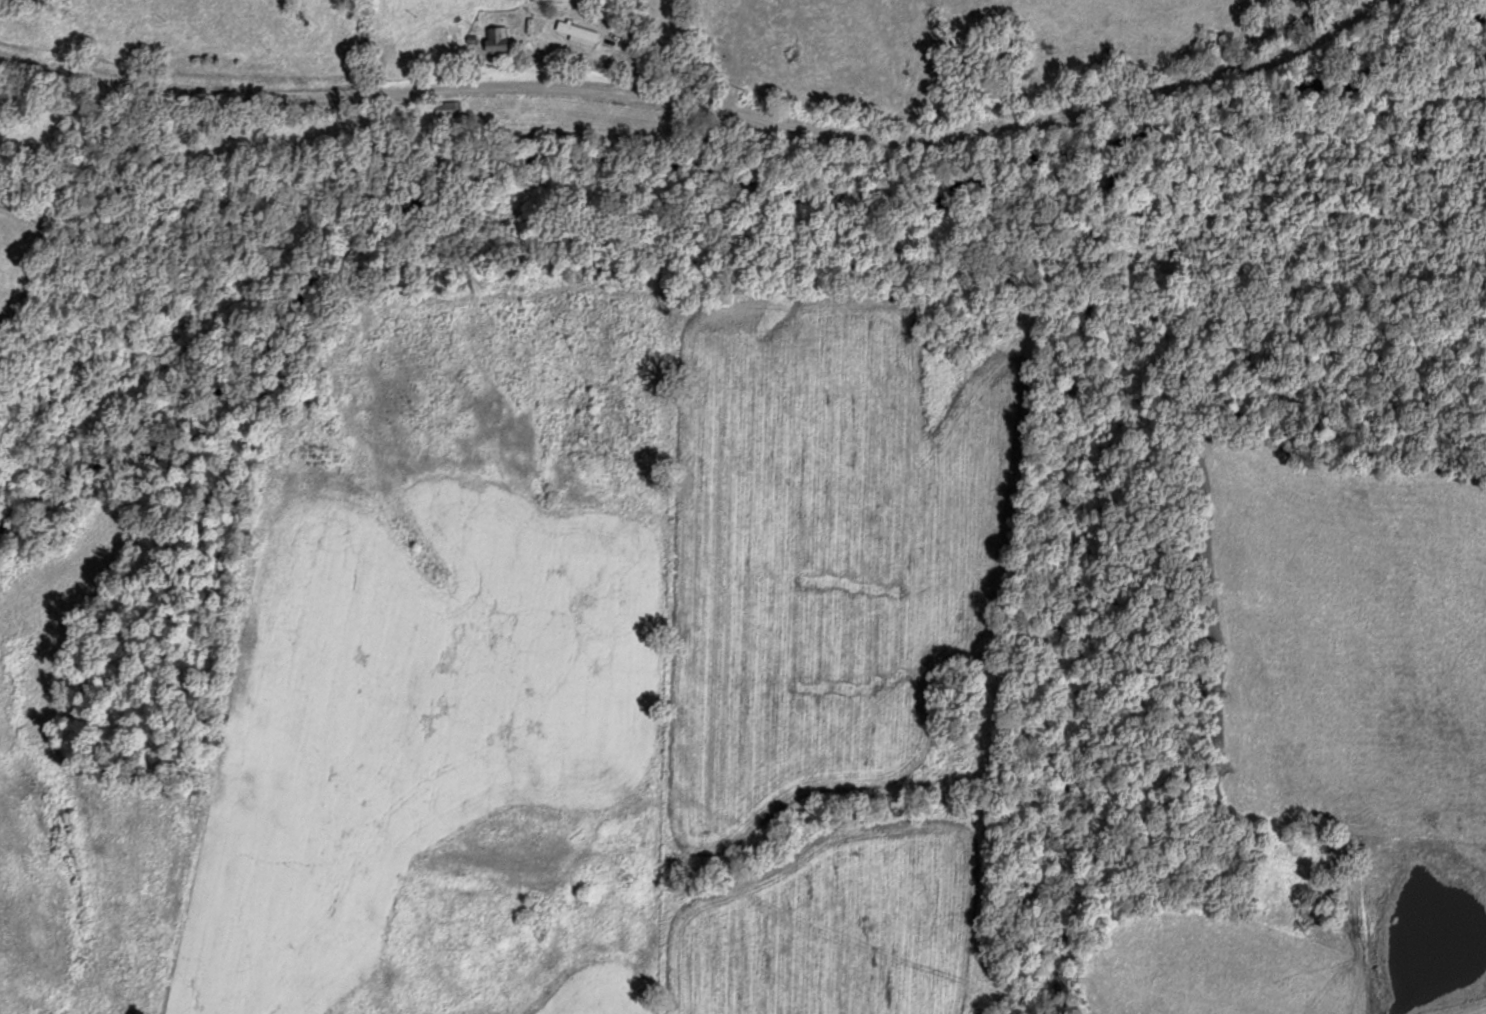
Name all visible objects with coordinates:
building: (580, 32)
building: (501, 40)
road: (700, 105)
building: (447, 108)

